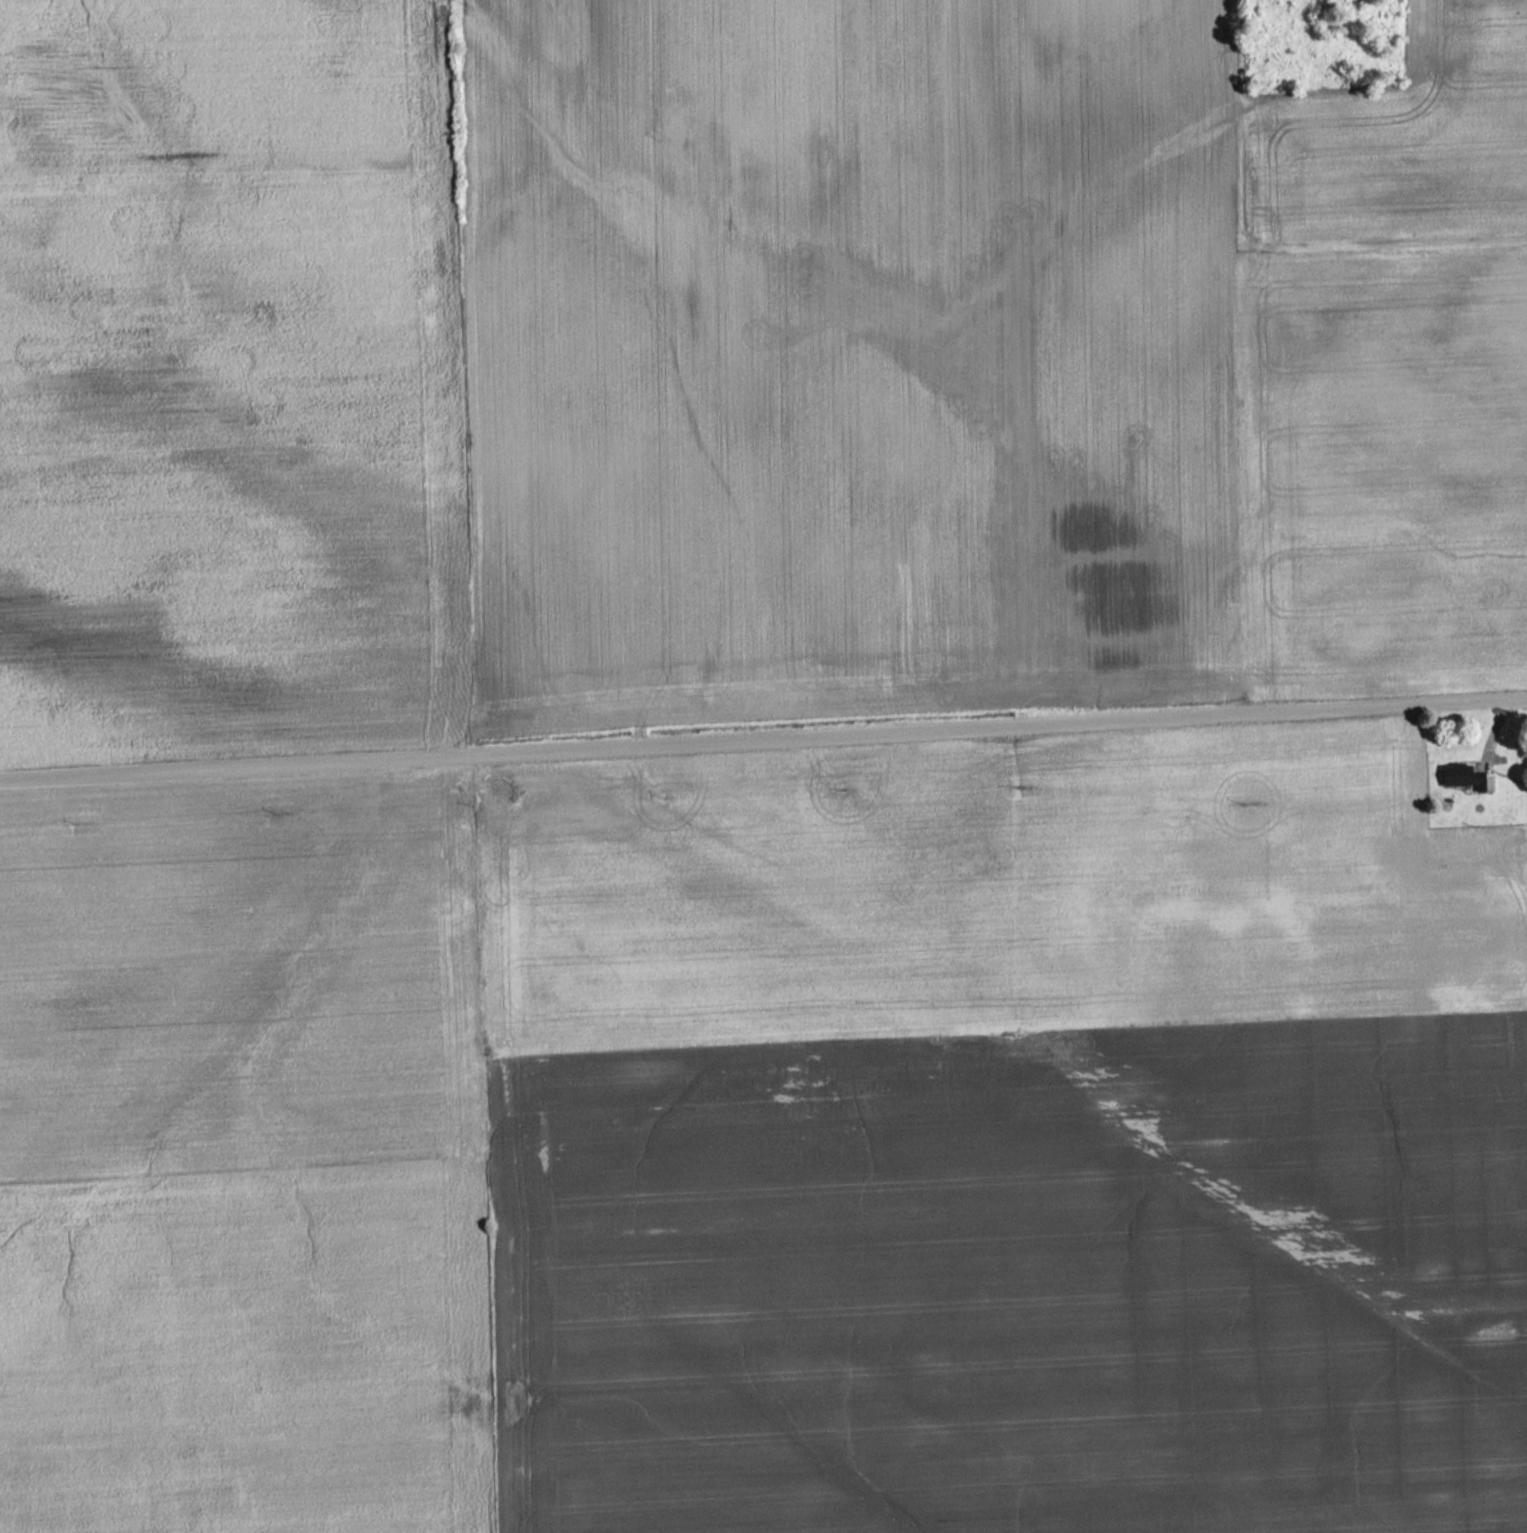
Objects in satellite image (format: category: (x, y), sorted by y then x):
road: (763, 738)
building: (1467, 776)

